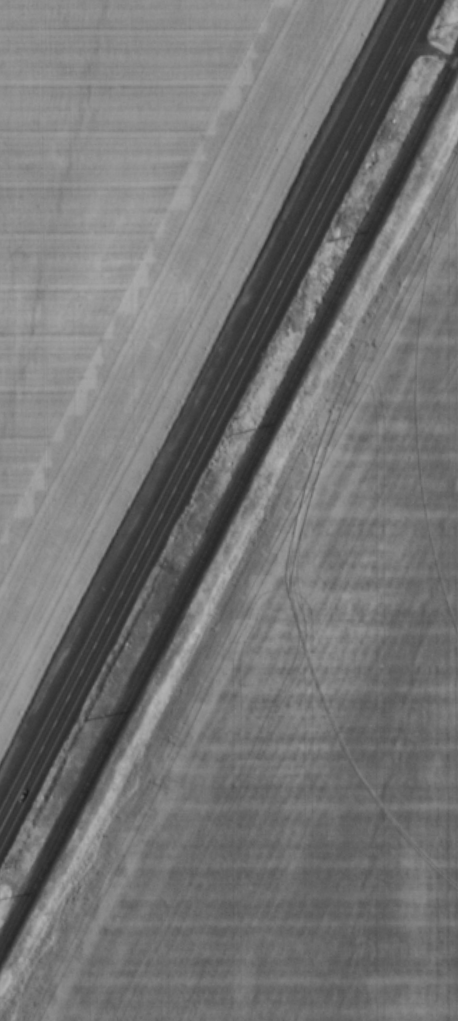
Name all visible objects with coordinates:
road: (210, 413)
railway: (229, 498)

